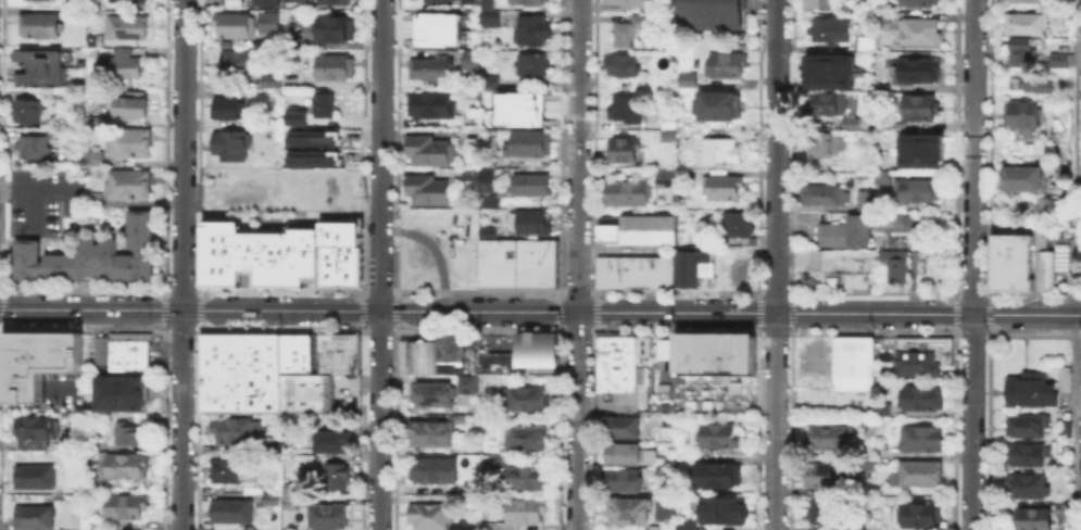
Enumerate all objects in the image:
building: (38, 0)
building: (123, 0)
building: (297, 1)
building: (439, 1)
building: (467, 1)
building: (264, 2)
building: (336, 2)
building: (528, 2)
building: (1023, 2)
building: (488, 3)
building: (919, 3)
building: (808, 4)
building: (631, 5)
building: (705, 14)
building: (273, 18)
building: (490, 21)
building: (882, 23)
building: (1026, 23)
building: (235, 25)
building: (39, 27)
building: (436, 28)
building: (125, 29)
building: (336, 30)
building: (917, 30)
building: (531, 31)
building: (629, 31)
building: (831, 31)
building: (293, 39)
building: (96, 40)
building: (866, 45)
building: (1025, 51)
building: (1058, 60)
building: (239, 61)
building: (472, 61)
building: (125, 64)
building: (533, 65)
building: (40, 66)
building: (720, 66)
building: (624, 67)
building: (916, 68)
building: (336, 70)
building: (429, 70)
building: (828, 70)
building: (683, 81)
building: (1031, 81)
building: (267, 83)
building: (487, 84)
building: (320, 103)
building: (827, 103)
building: (918, 103)
building: (433, 105)
building: (714, 106)
building: (129, 108)
building: (518, 108)
building: (229, 109)
building: (628, 110)
building: (1080, 111)
building: (30, 112)
building: (293, 116)
building: (1021, 117)
building: (96, 122)
building: (847, 123)
building: (56, 134)
building: (317, 138)
building: (130, 144)
building: (529, 146)
building: (826, 146)
building: (231, 147)
building: (34, 148)
building: (623, 150)
building: (429, 151)
building: (922, 151)
building: (716, 153)
building: (317, 157)
building: (96, 161)
building: (467, 173)
building: (686, 176)
building: (664, 177)
building: (1020, 177)
building: (483, 179)
building: (130, 186)
building: (336, 186)
building: (532, 186)
building: (718, 187)
road: (32, 191)
building: (429, 191)
building: (916, 191)
building: (628, 192)
building: (297, 193)
building: (827, 198)
building: (863, 198)
building: (487, 200)
building: (95, 201)
building: (1049, 207)
building: (891, 222)
building: (532, 223)
building: (732, 225)
building: (607, 227)
building: (646, 228)
building: (490, 231)
building: (846, 231)
building: (274, 237)
building: (1038, 237)
building: (997, 240)
road: (435, 249)
road: (656, 249)
building: (91, 254)
building: (703, 254)
building: (310, 260)
building: (516, 261)
building: (892, 262)
building: (806, 263)
road: (181, 264)
building: (210, 264)
building: (228, 264)
building: (263, 264)
building: (278, 264)
building: (293, 264)
building: (328, 264)
building: (347, 264)
road: (379, 264)
road: (577, 264)
road: (775, 264)
building: (847, 264)
building: (1046, 264)
road: (969, 265)
road: (1072, 265)
building: (686, 267)
building: (1021, 268)
building: (997, 269)
building: (1009, 269)
building: (609, 270)
building: (641, 270)
building: (665, 270)
road: (540, 311)
building: (529, 341)
building: (545, 342)
building: (43, 346)
building: (122, 350)
building: (222, 351)
building: (294, 352)
building: (328, 352)
building: (348, 352)
building: (448, 352)
building: (681, 352)
building: (705, 352)
building: (737, 352)
building: (921, 354)
building: (415, 355)
building: (882, 355)
building: (530, 357)
building: (617, 361)
building: (852, 361)
building: (494, 362)
building: (261, 370)
building: (678, 377)
building: (721, 377)
building: (1063, 377)
building: (464, 378)
building: (733, 384)
building: (1030, 389)
building: (117, 391)
building: (222, 391)
building: (304, 391)
building: (429, 392)
building: (520, 396)
building: (615, 399)
building: (923, 400)
building: (884, 412)
building: (1027, 427)
building: (232, 428)
building: (620, 428)
building: (1064, 430)
building: (33, 433)
building: (435, 433)
building: (130, 436)
building: (329, 437)
building: (719, 438)
building: (829, 438)
building: (525, 439)
building: (923, 439)
building: (68, 441)
building: (629, 455)
building: (1029, 456)
building: (303, 460)
building: (491, 462)
building: (124, 466)
building: (431, 471)
building: (228, 472)
building: (919, 475)
building: (337, 476)
building: (715, 476)
building: (828, 477)
building: (35, 479)
building: (529, 479)
building: (623, 480)
building: (88, 485)
building: (1027, 487)
building: (469, 490)
building: (291, 501)
building: (125, 507)
building: (662, 507)
building: (721, 509)
building: (826, 509)
building: (525, 512)
building: (1068, 512)
building: (234, 513)
building: (629, 513)
building: (921, 516)
building: (35, 518)
building: (329, 518)
building: (429, 518)
building: (1034, 519)
building: (686, 525)

